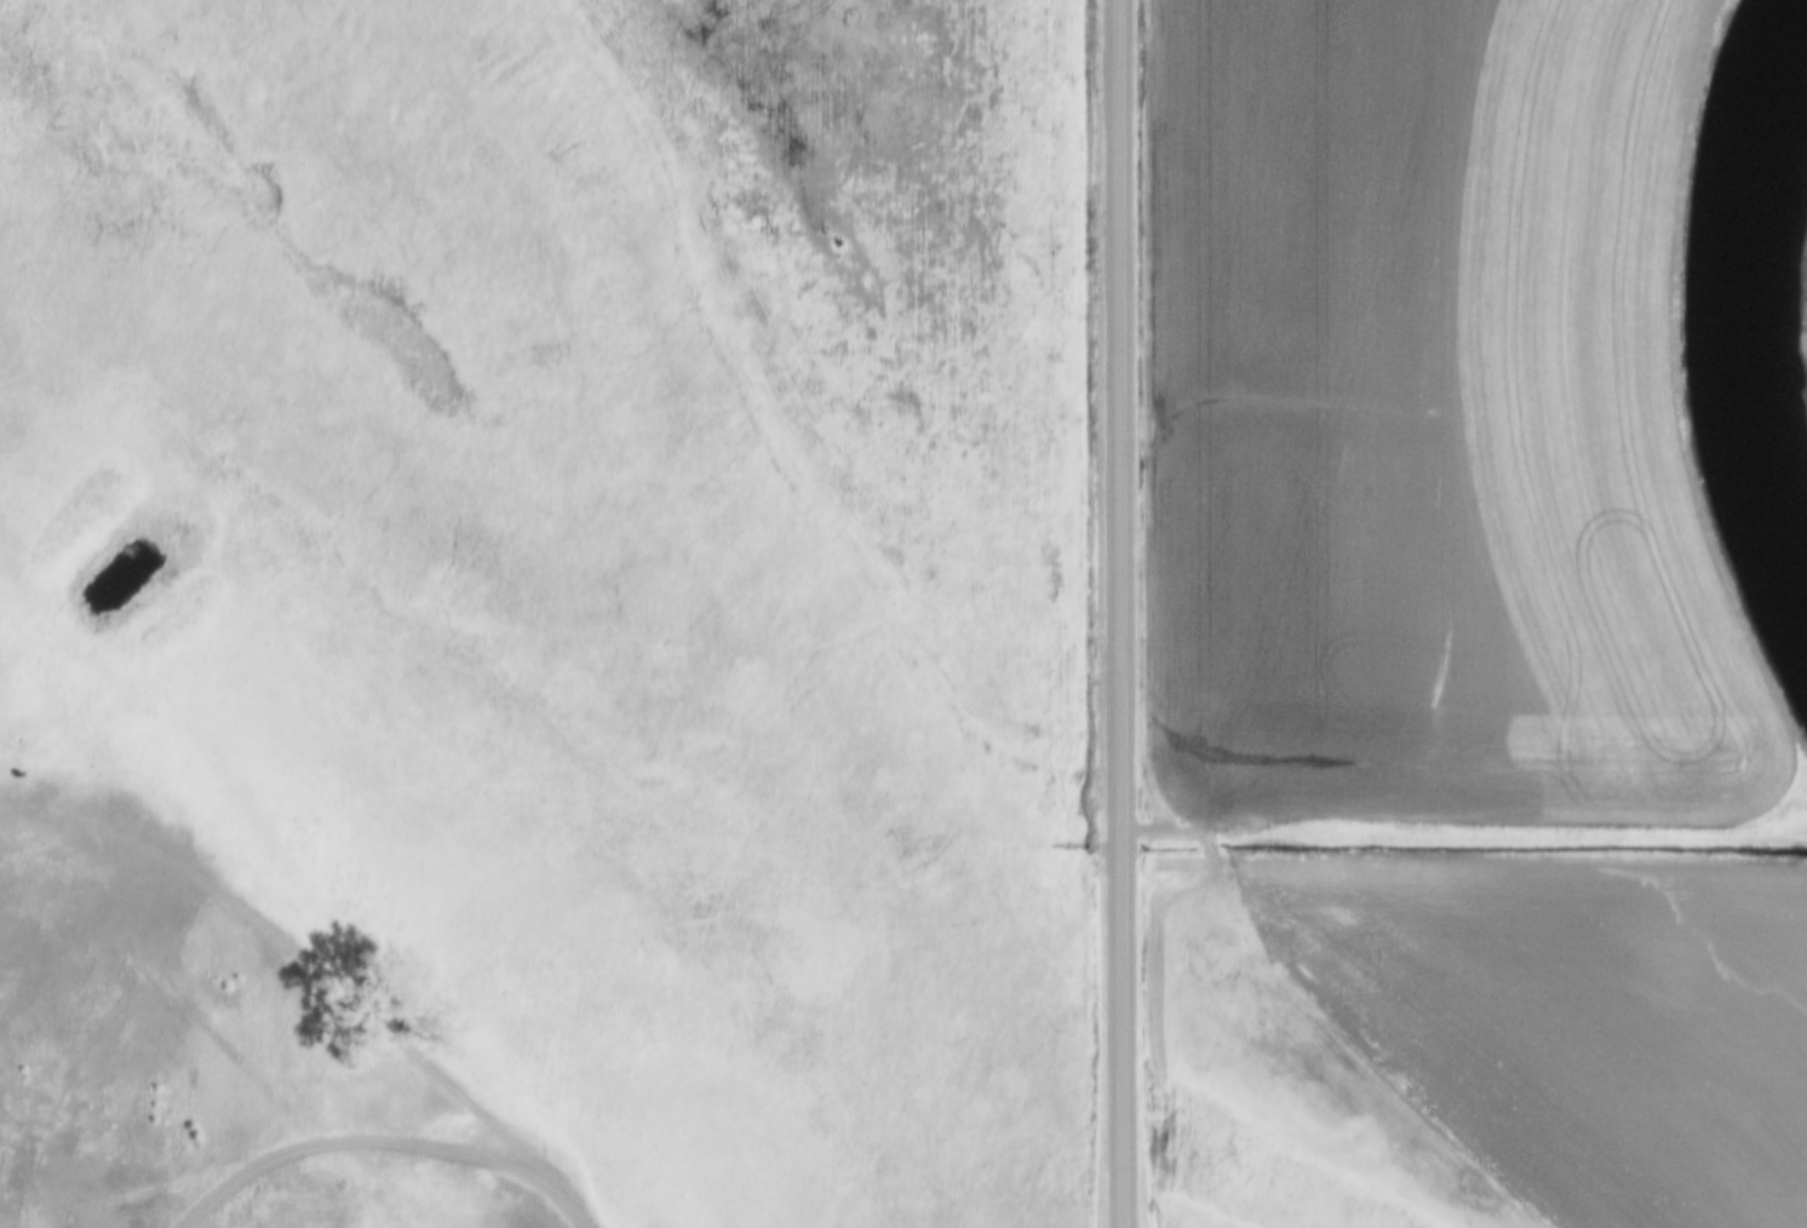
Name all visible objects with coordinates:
river: (1733, 323)
road: (1124, 614)
road: (311, 963)
quarry: (153, 1025)
building: (1381, 1049)
building: (1429, 1096)

